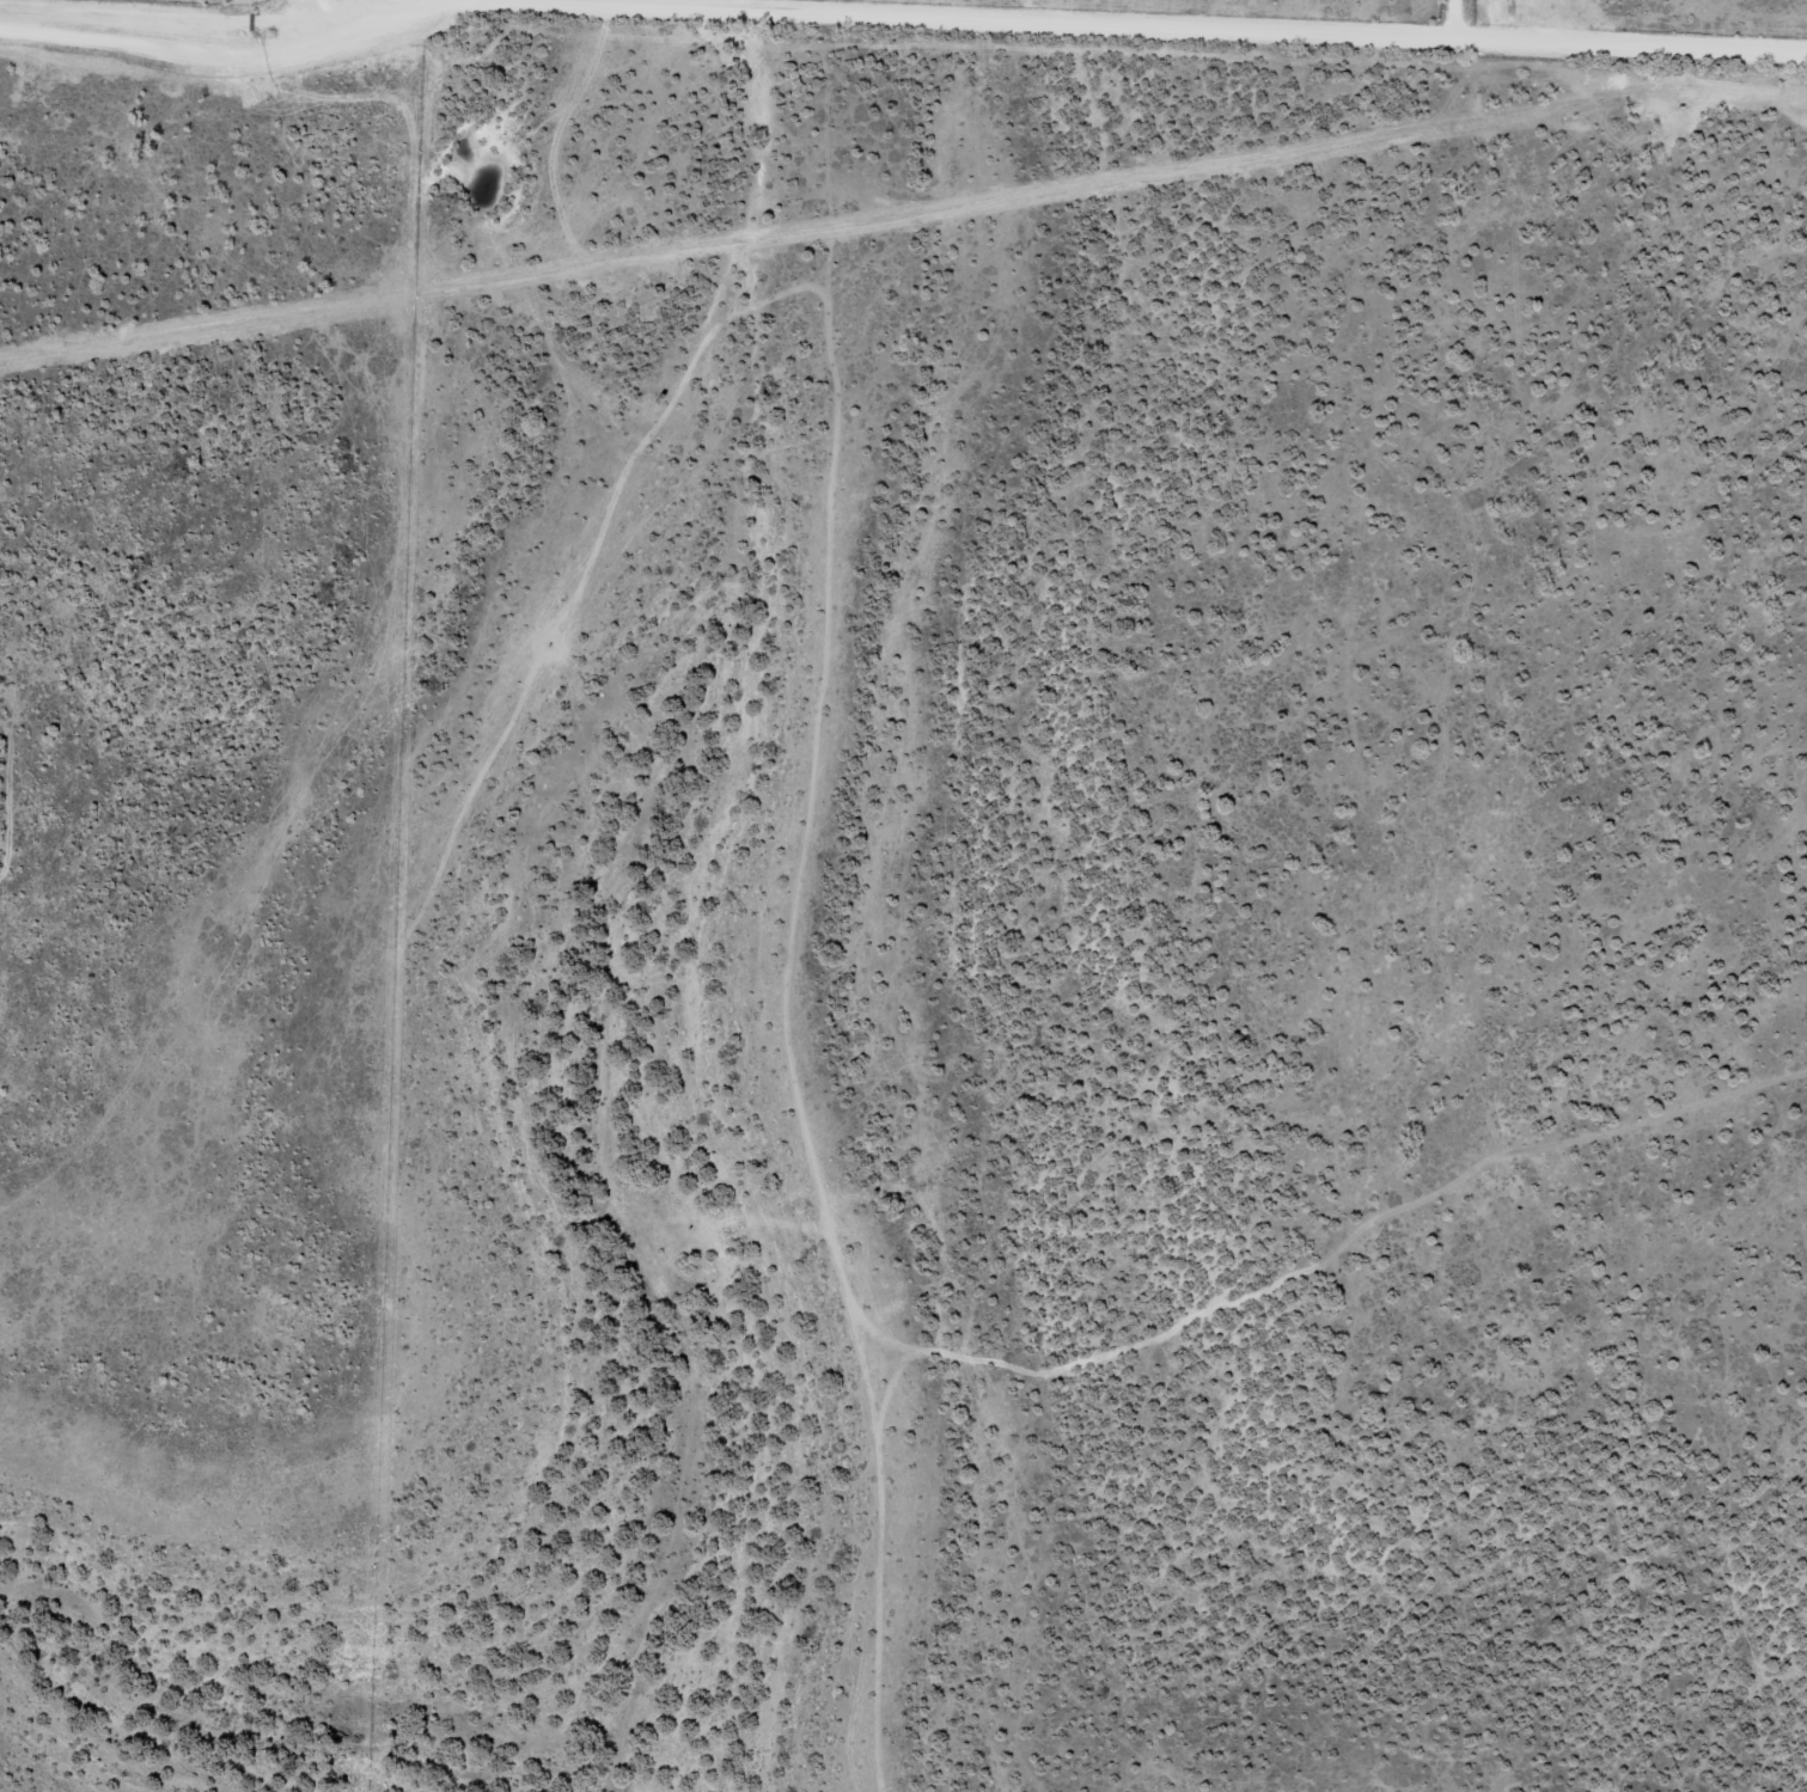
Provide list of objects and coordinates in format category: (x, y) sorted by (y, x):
road: (716, 4)
road: (165, 14)
road: (1160, 25)

